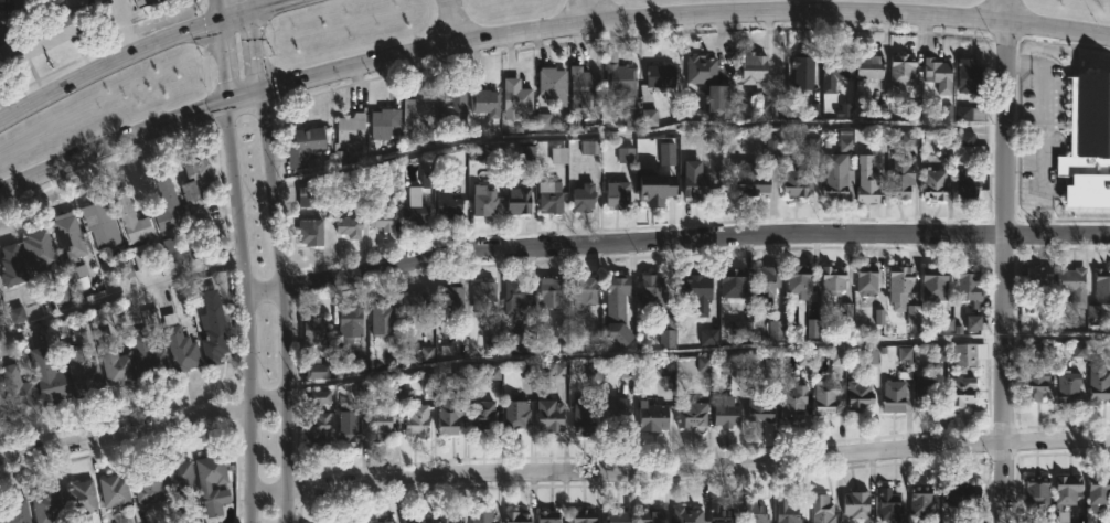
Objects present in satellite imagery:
building: (145, 2)
road: (252, 4)
traffic signals: (253, 10)
road: (216, 11)
road: (1007, 12)
road: (587, 14)
road: (451, 22)
traffic signals: (217, 23)
road: (125, 28)
building: (42, 29)
road: (542, 33)
road: (257, 51)
road: (138, 54)
road: (223, 62)
building: (868, 65)
building: (801, 67)
building: (702, 68)
building: (753, 70)
building: (903, 70)
building: (835, 73)
building: (939, 74)
building: (969, 76)
building: (661, 77)
building: (620, 81)
building: (552, 84)
building: (585, 88)
building: (515, 97)
building: (484, 100)
traffic signals: (228, 102)
building: (721, 102)
building: (452, 107)
building: (771, 108)
building: (970, 113)
building: (416, 114)
building: (640, 118)
building: (384, 121)
building: (348, 135)
road: (637, 137)
building: (1088, 139)
building: (302, 145)
building: (749, 177)
building: (900, 177)
building: (837, 178)
building: (797, 181)
building: (933, 182)
building: (867, 183)
building: (968, 185)
building: (696, 186)
building: (196, 191)
building: (658, 192)
building: (617, 194)
building: (549, 198)
building: (584, 198)
building: (484, 200)
building: (517, 200)
building: (417, 201)
building: (448, 204)
building: (167, 206)
building: (131, 218)
building: (382, 220)
building: (102, 225)
building: (348, 226)
building: (310, 232)
building: (68, 235)
road: (676, 239)
building: (171, 248)
building: (38, 249)
building: (11, 266)
road: (1003, 274)
building: (766, 279)
building: (799, 279)
building: (833, 279)
building: (1039, 279)
building: (733, 282)
building: (899, 282)
building: (1102, 282)
building: (865, 284)
building: (933, 284)
building: (969, 284)
building: (1072, 284)
building: (585, 290)
building: (549, 292)
building: (696, 292)
road: (121, 293)
building: (515, 293)
building: (653, 293)
building: (483, 296)
building: (449, 301)
building: (417, 305)
building: (0, 306)
road: (287, 306)
building: (617, 309)
road: (248, 311)
building: (1097, 316)
building: (381, 320)
building: (348, 324)
building: (212, 329)
building: (314, 330)
building: (668, 331)
building: (181, 350)
building: (967, 355)
road: (700, 357)
building: (148, 359)
building: (114, 361)
building: (316, 367)
building: (81, 372)
building: (734, 374)
building: (49, 377)
building: (1098, 382)
building: (1037, 383)
building: (1067, 386)
building: (17, 389)
building: (961, 389)
building: (926, 392)
building: (857, 395)
building: (893, 395)
building: (320, 397)
building: (824, 397)
building: (793, 403)
building: (758, 406)
building: (2, 407)
building: (447, 410)
building: (615, 412)
building: (726, 412)
building: (690, 414)
building: (515, 415)
building: (548, 415)
building: (652, 416)
building: (482, 417)
building: (584, 418)
building: (417, 421)
road: (145, 424)
building: (380, 425)
building: (346, 426)
building: (317, 430)
road: (680, 467)
building: (180, 478)
building: (213, 482)
building: (148, 487)
building: (1066, 490)
building: (1037, 491)
building: (1098, 491)
building: (115, 492)
building: (964, 493)
building: (81, 500)
building: (922, 502)
building: (855, 504)
building: (888, 505)
building: (46, 506)
building: (821, 509)
building: (13, 510)
building: (754, 511)
building: (787, 511)
building: (721, 513)
building: (616, 515)
building: (650, 515)
building: (685, 515)
building: (480, 516)
building: (547, 516)
building: (583, 516)
building: (515, 517)
building: (417, 520)
building: (450, 520)
building: (387, 521)
building: (373, 522)

